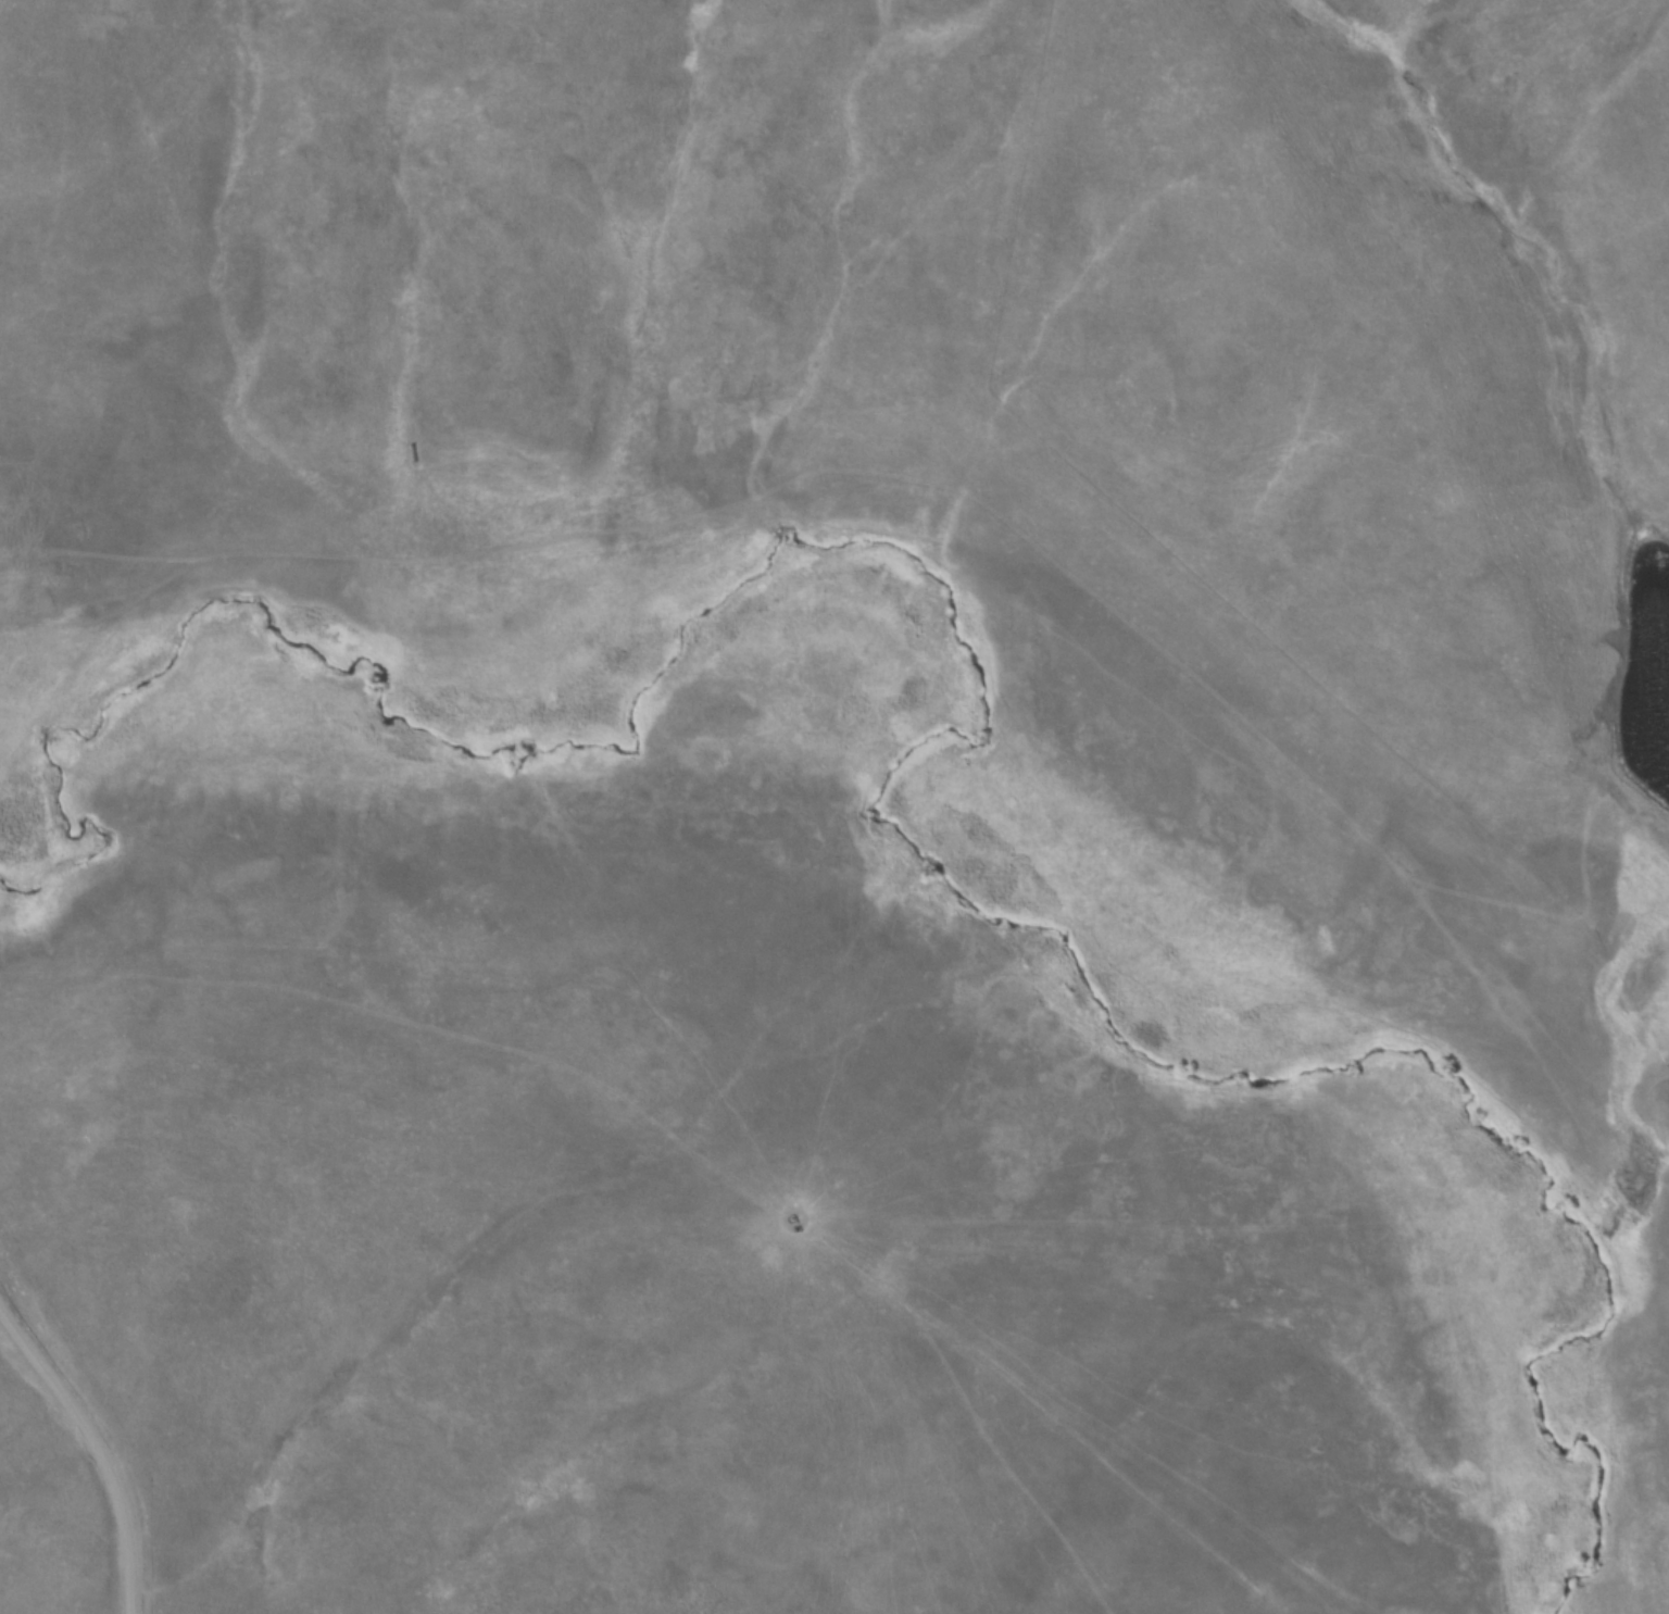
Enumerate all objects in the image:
road: (95, 1448)

